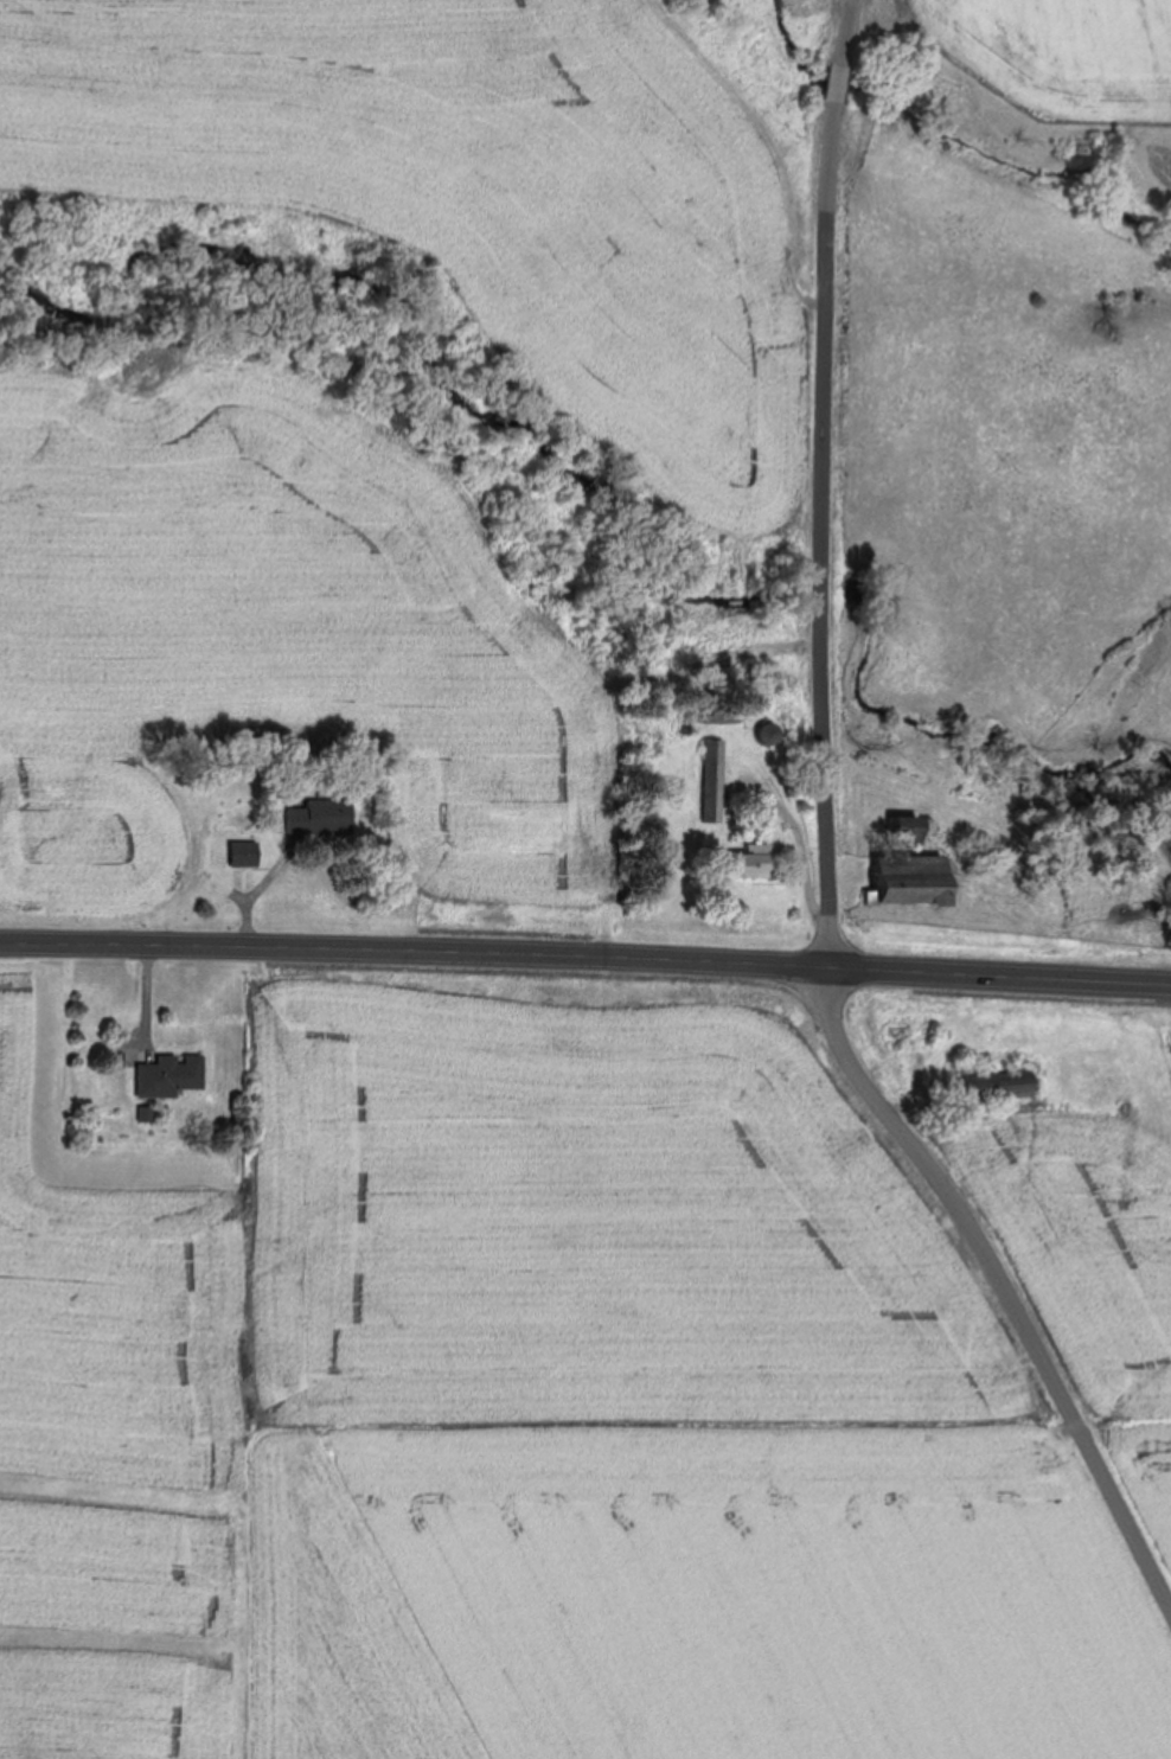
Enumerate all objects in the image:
road: (774, 487)
building: (764, 733)
building: (710, 779)
building: (309, 814)
building: (907, 832)
building: (242, 852)
building: (743, 862)
building: (909, 879)
road: (585, 953)
building: (168, 1074)
building: (996, 1085)
road: (993, 1286)

